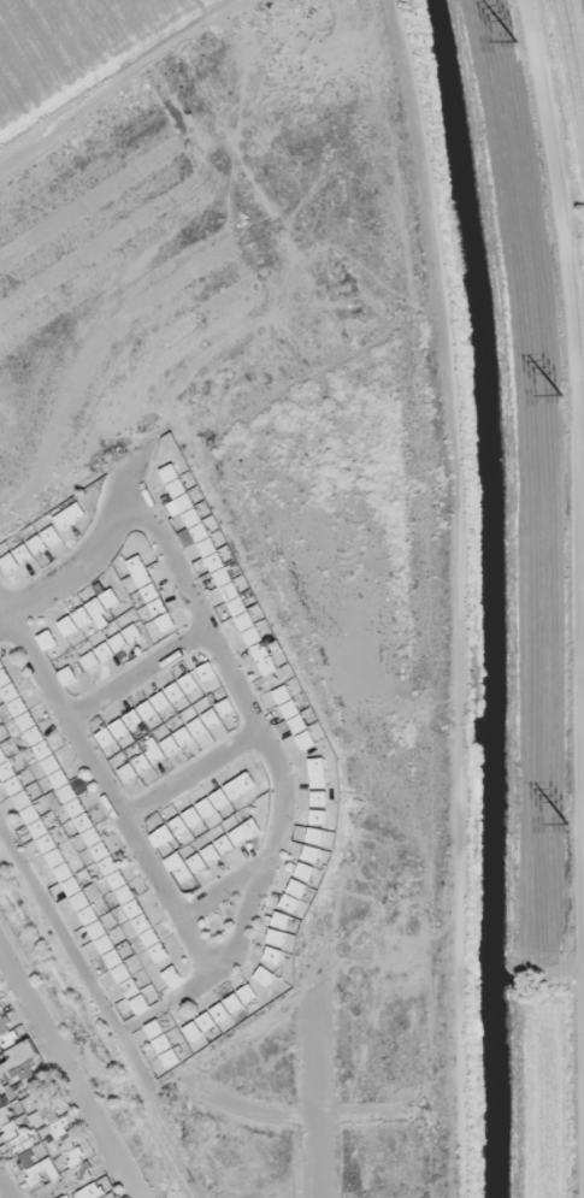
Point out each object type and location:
power tower: (515, 45)
crop: (75, 48)
road: (577, 371)
power tower: (558, 399)
road: (76, 571)
road: (462, 596)
road: (137, 675)
road: (277, 774)
road: (191, 775)
road: (106, 791)
power tower: (564, 826)
road: (223, 897)
building: (101, 939)
road: (102, 1015)
building: (218, 1023)
building: (163, 1047)
road: (70, 1075)
road: (314, 1102)
road: (291, 1117)
road: (0, 1196)

